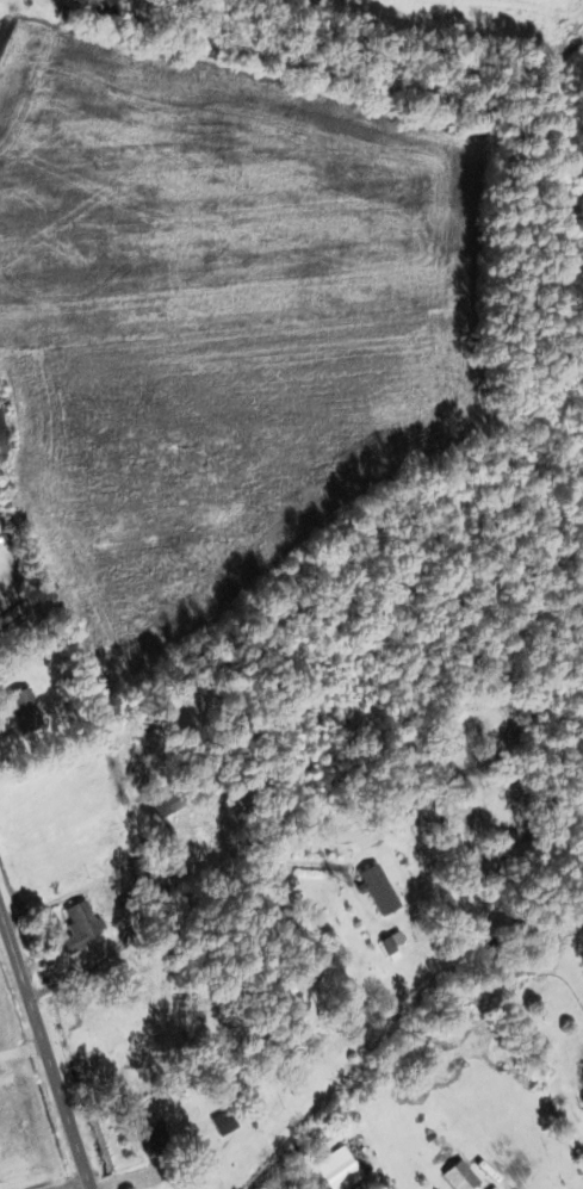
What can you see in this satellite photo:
building: (24, 711)
building: (81, 927)
road: (45, 1048)
building: (221, 1125)
building: (161, 1150)
building: (339, 1170)
building: (460, 1177)

